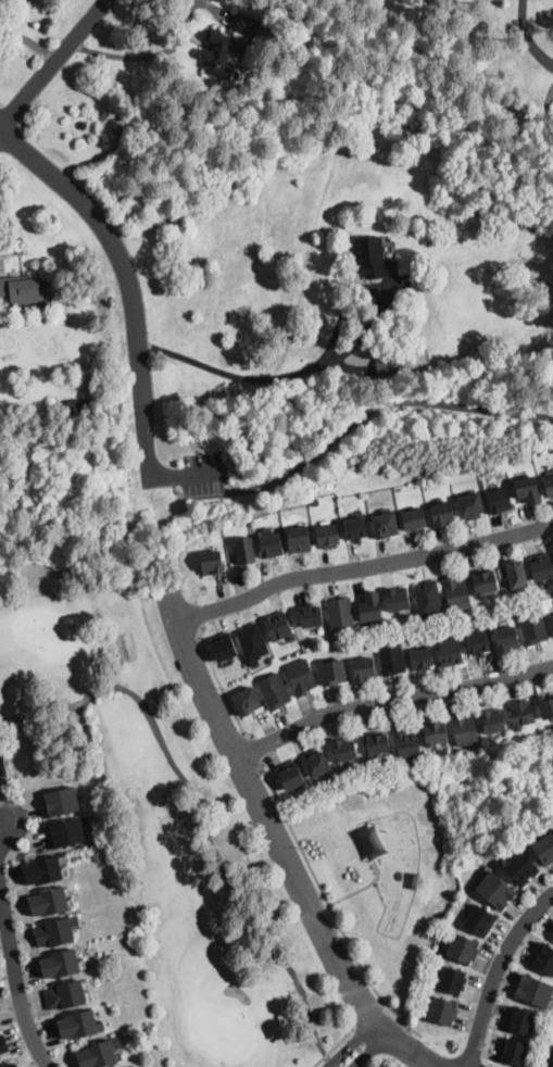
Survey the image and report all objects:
building: (12, 0)
road: (528, 35)
building: (230, 46)
road: (148, 54)
road: (54, 64)
building: (134, 170)
building: (146, 190)
building: (375, 258)
road: (127, 278)
building: (26, 292)
building: (389, 364)
road: (280, 376)
building: (83, 409)
road: (365, 413)
road: (185, 474)
building: (549, 486)
building: (528, 490)
building: (500, 500)
building: (470, 506)
building: (443, 514)
building: (415, 519)
building: (386, 526)
building: (356, 529)
building: (328, 536)
building: (299, 539)
building: (271, 545)
building: (246, 551)
building: (211, 563)
road: (362, 566)
building: (541, 567)
building: (517, 574)
building: (485, 583)
building: (133, 591)
building: (457, 593)
building: (428, 599)
building: (398, 600)
building: (370, 607)
building: (340, 614)
building: (552, 615)
building: (311, 616)
building: (552, 620)
building: (279, 627)
building: (533, 628)
building: (507, 639)
building: (252, 643)
building: (478, 643)
building: (223, 648)
building: (450, 652)
building: (422, 658)
building: (392, 660)
building: (364, 669)
building: (334, 673)
building: (301, 677)
road: (217, 678)
building: (274, 691)
road: (391, 700)
building: (248, 701)
building: (545, 707)
building: (521, 714)
building: (493, 720)
building: (464, 728)
building: (435, 733)
building: (377, 744)
building: (407, 744)
road: (253, 748)
building: (345, 749)
building: (2, 764)
building: (316, 764)
building: (290, 777)
building: (61, 801)
road: (196, 815)
road: (269, 820)
road: (1, 827)
park: (223, 828)
building: (66, 832)
building: (545, 850)
building: (521, 868)
building: (42, 871)
road: (359, 889)
building: (497, 891)
building: (48, 902)
road: (328, 907)
building: (480, 920)
building: (552, 931)
building: (53, 933)
building: (463, 949)
building: (543, 958)
building: (60, 965)
road: (497, 974)
road: (15, 979)
building: (452, 980)
building: (535, 992)
building: (65, 995)
building: (442, 1010)
road: (366, 1013)
building: (520, 1021)
building: (77, 1025)
building: (3, 1044)
road: (351, 1044)
road: (331, 1046)
road: (372, 1052)
road: (415, 1053)
building: (515, 1053)
building: (98, 1055)
building: (0, 1057)
building: (549, 1059)
road: (329, 1062)
building: (13, 1065)
building: (4, 1066)

